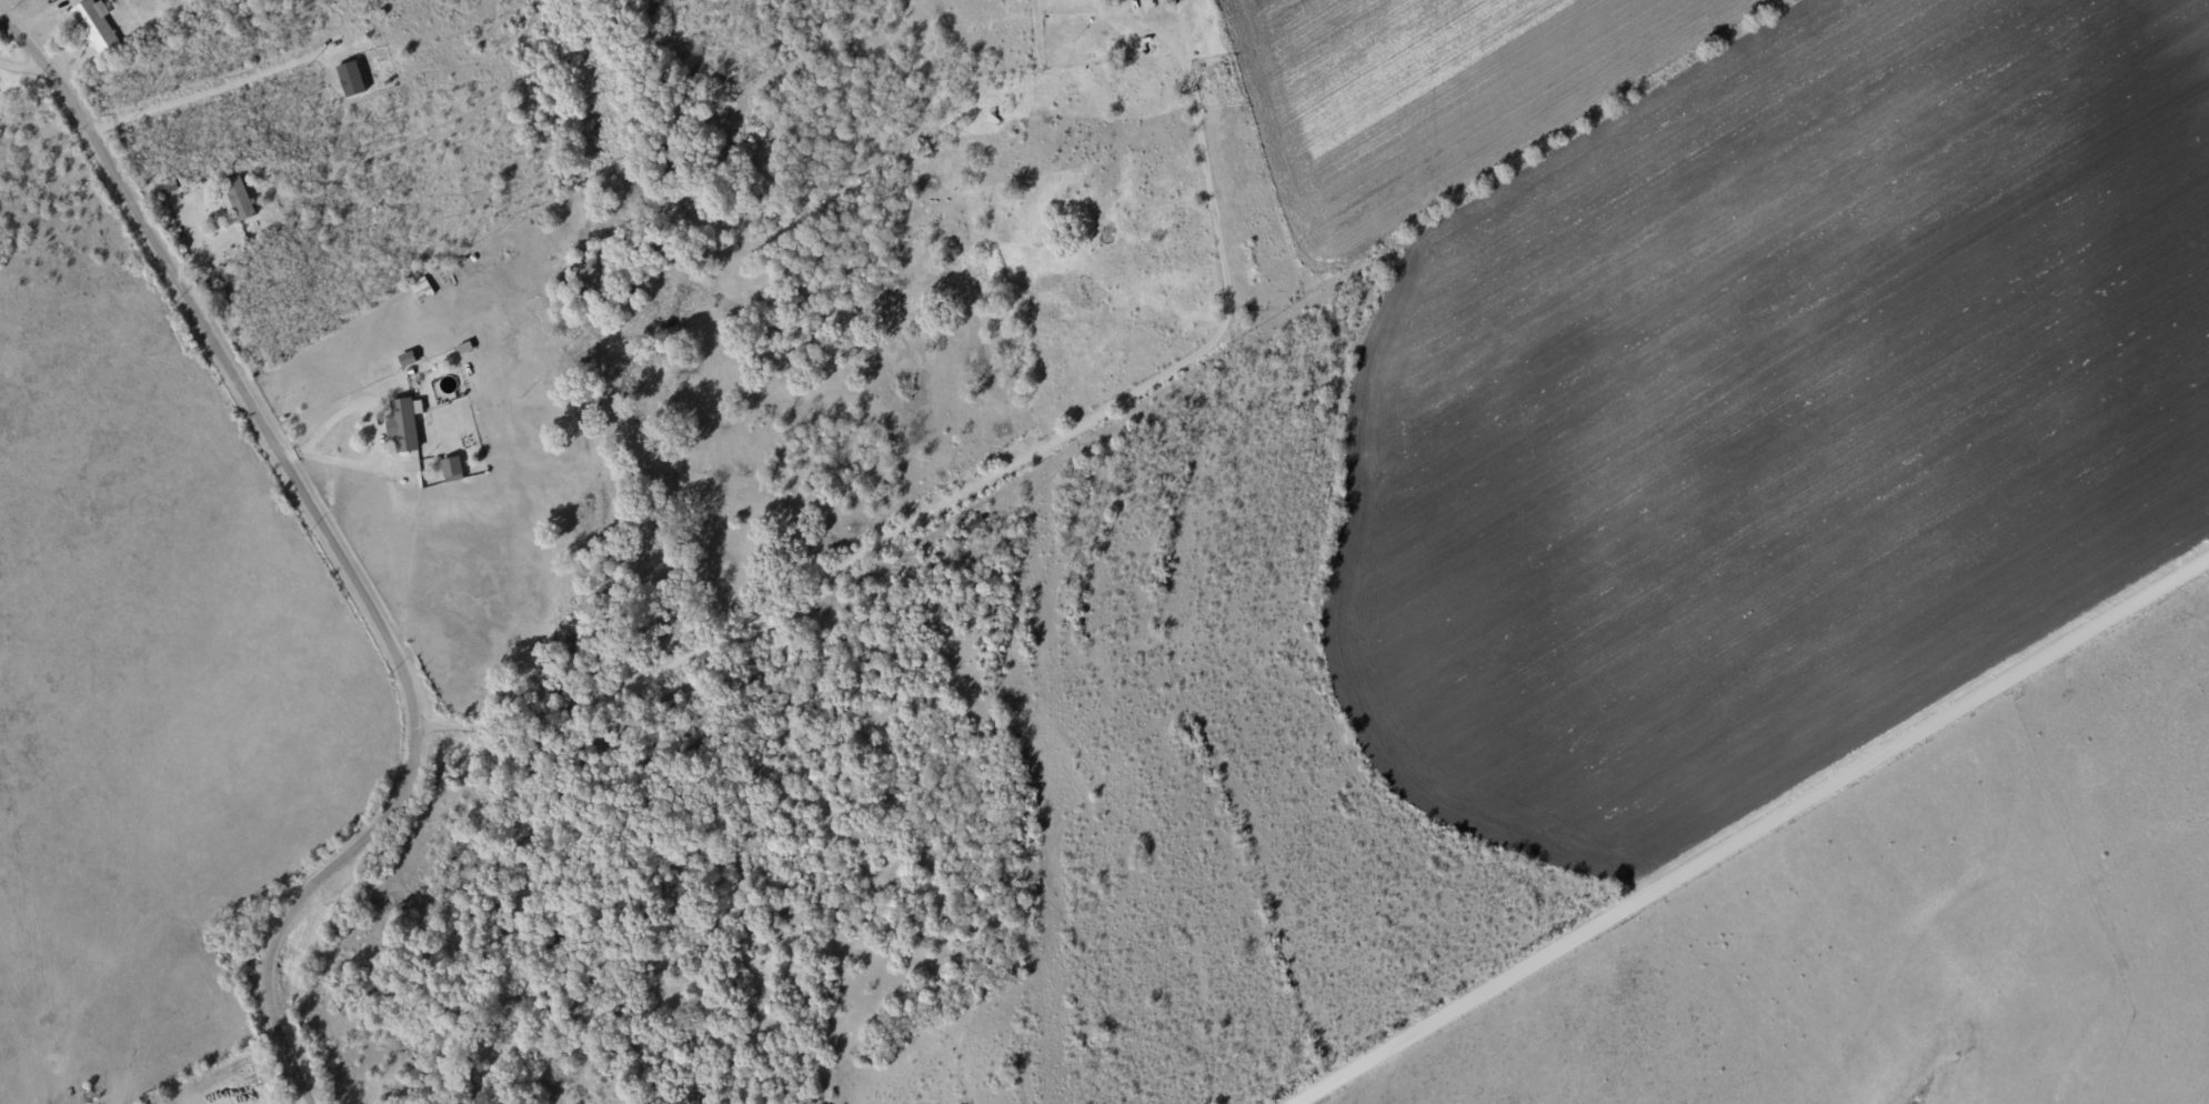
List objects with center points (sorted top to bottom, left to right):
building: (97, 27)
road: (24, 72)
building: (352, 79)
building: (239, 200)
building: (422, 290)
building: (405, 424)
building: (453, 470)
road: (981, 483)
road: (337, 553)
road: (1753, 834)

